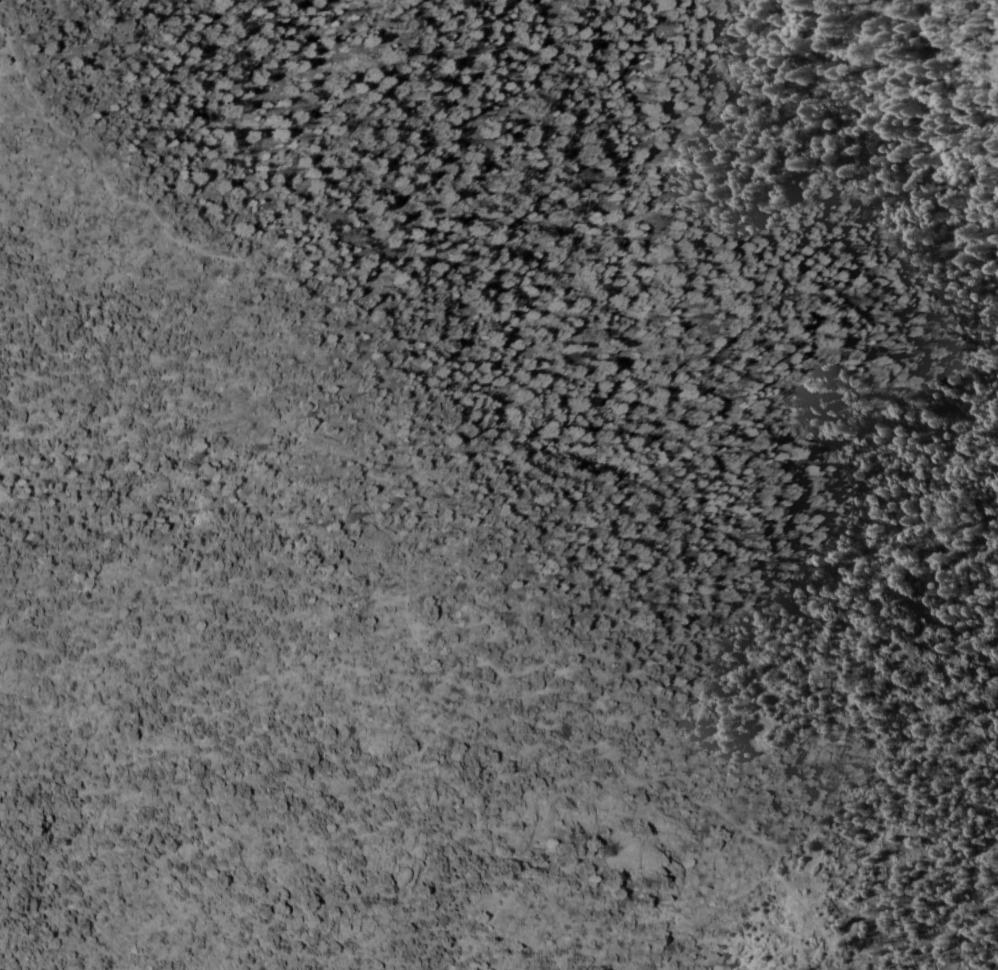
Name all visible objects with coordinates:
road: (178, 234)

